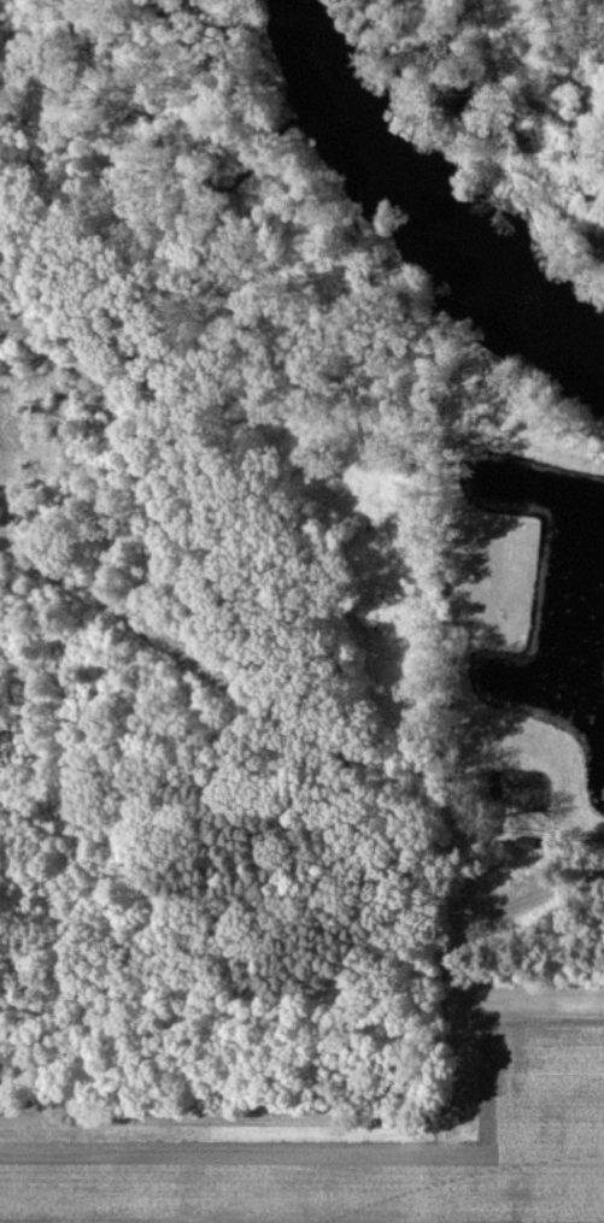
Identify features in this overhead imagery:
river: (434, 210)
road: (426, 618)
road: (254, 668)
road: (206, 977)

